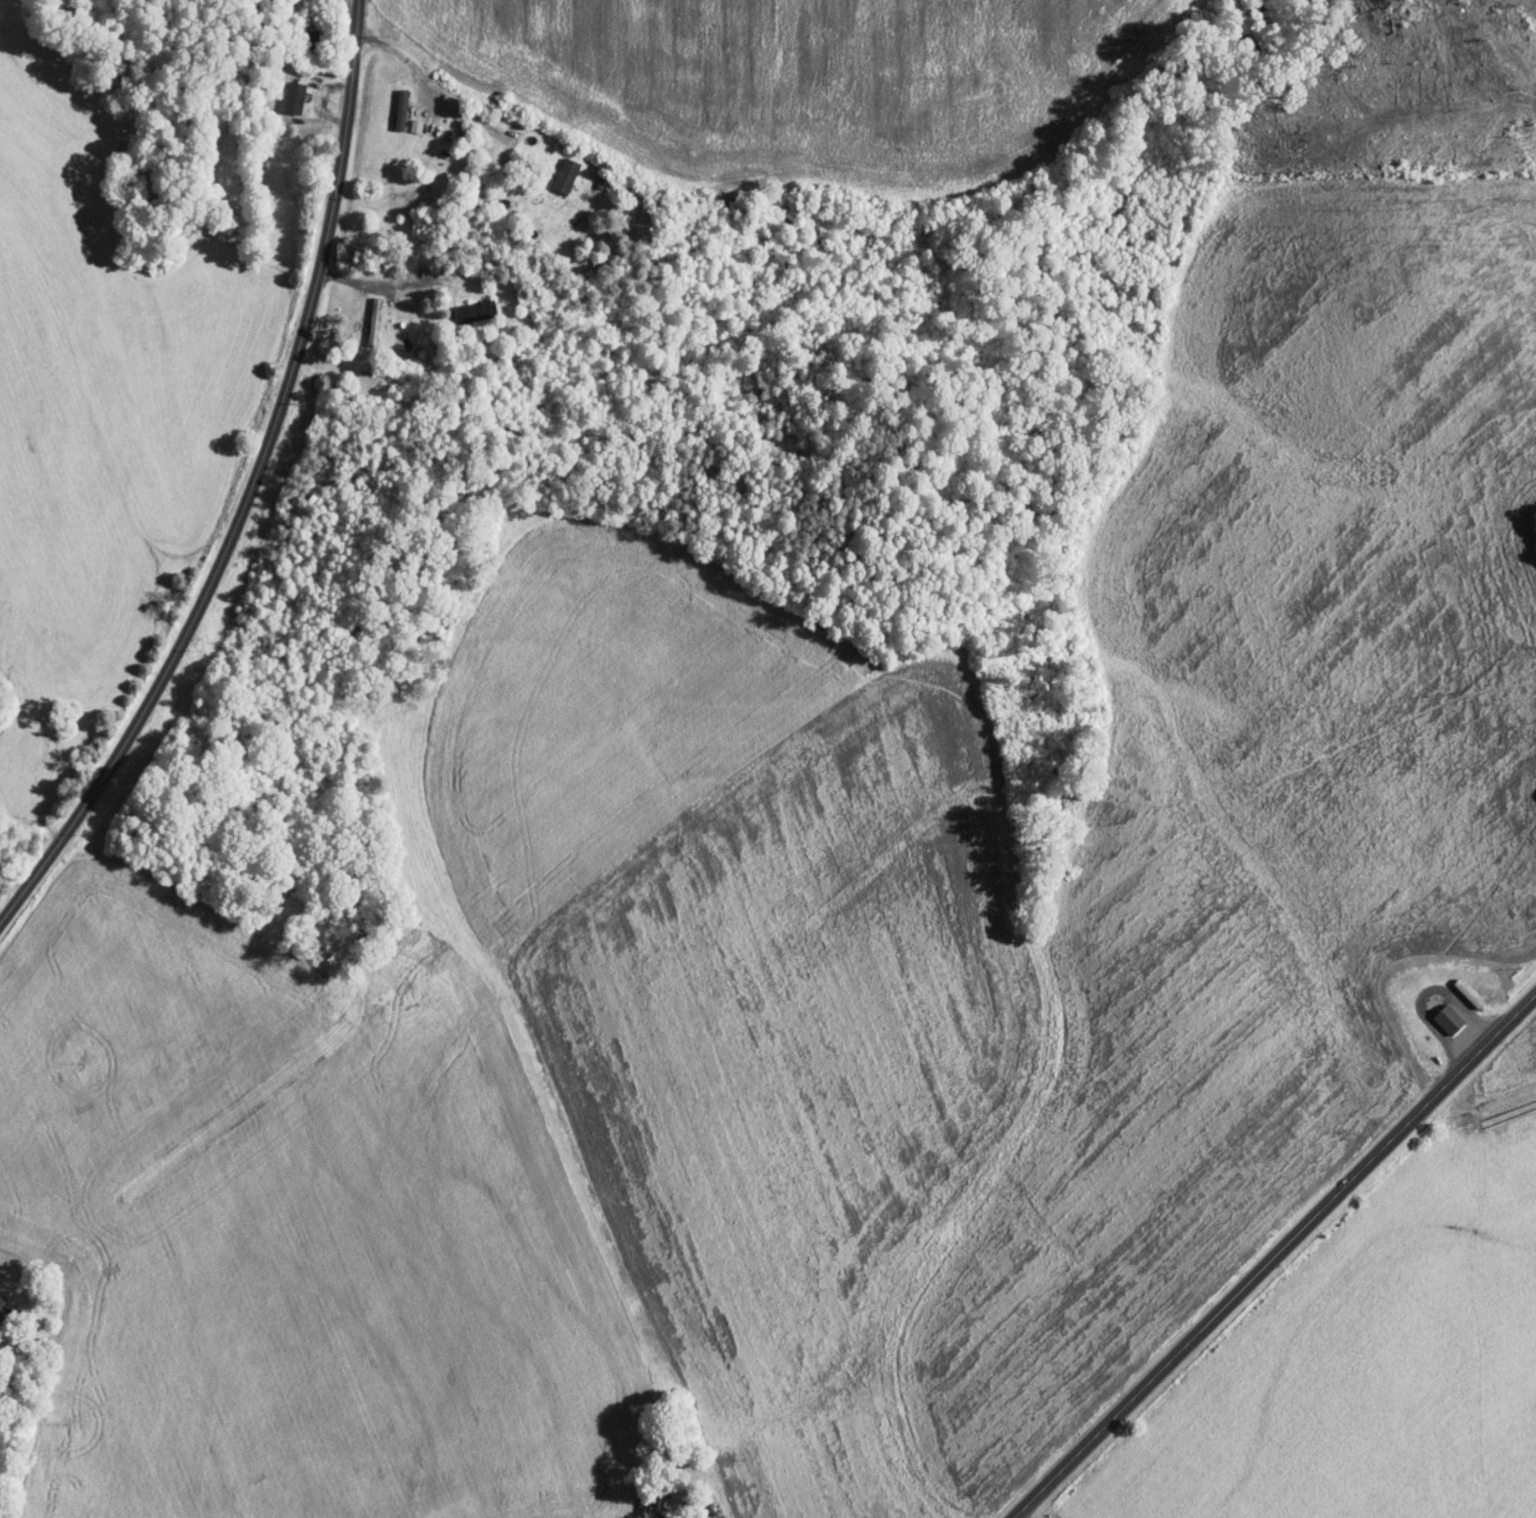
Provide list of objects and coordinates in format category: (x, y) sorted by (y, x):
road: (328, 25)
road: (384, 60)
building: (291, 96)
building: (398, 109)
road: (455, 116)
road: (330, 123)
building: (414, 125)
building: (562, 175)
road: (366, 260)
road: (475, 273)
building: (474, 310)
road: (251, 489)
building: (1445, 1018)
road: (1459, 1032)
road: (1275, 1255)
building: (3, 1306)

